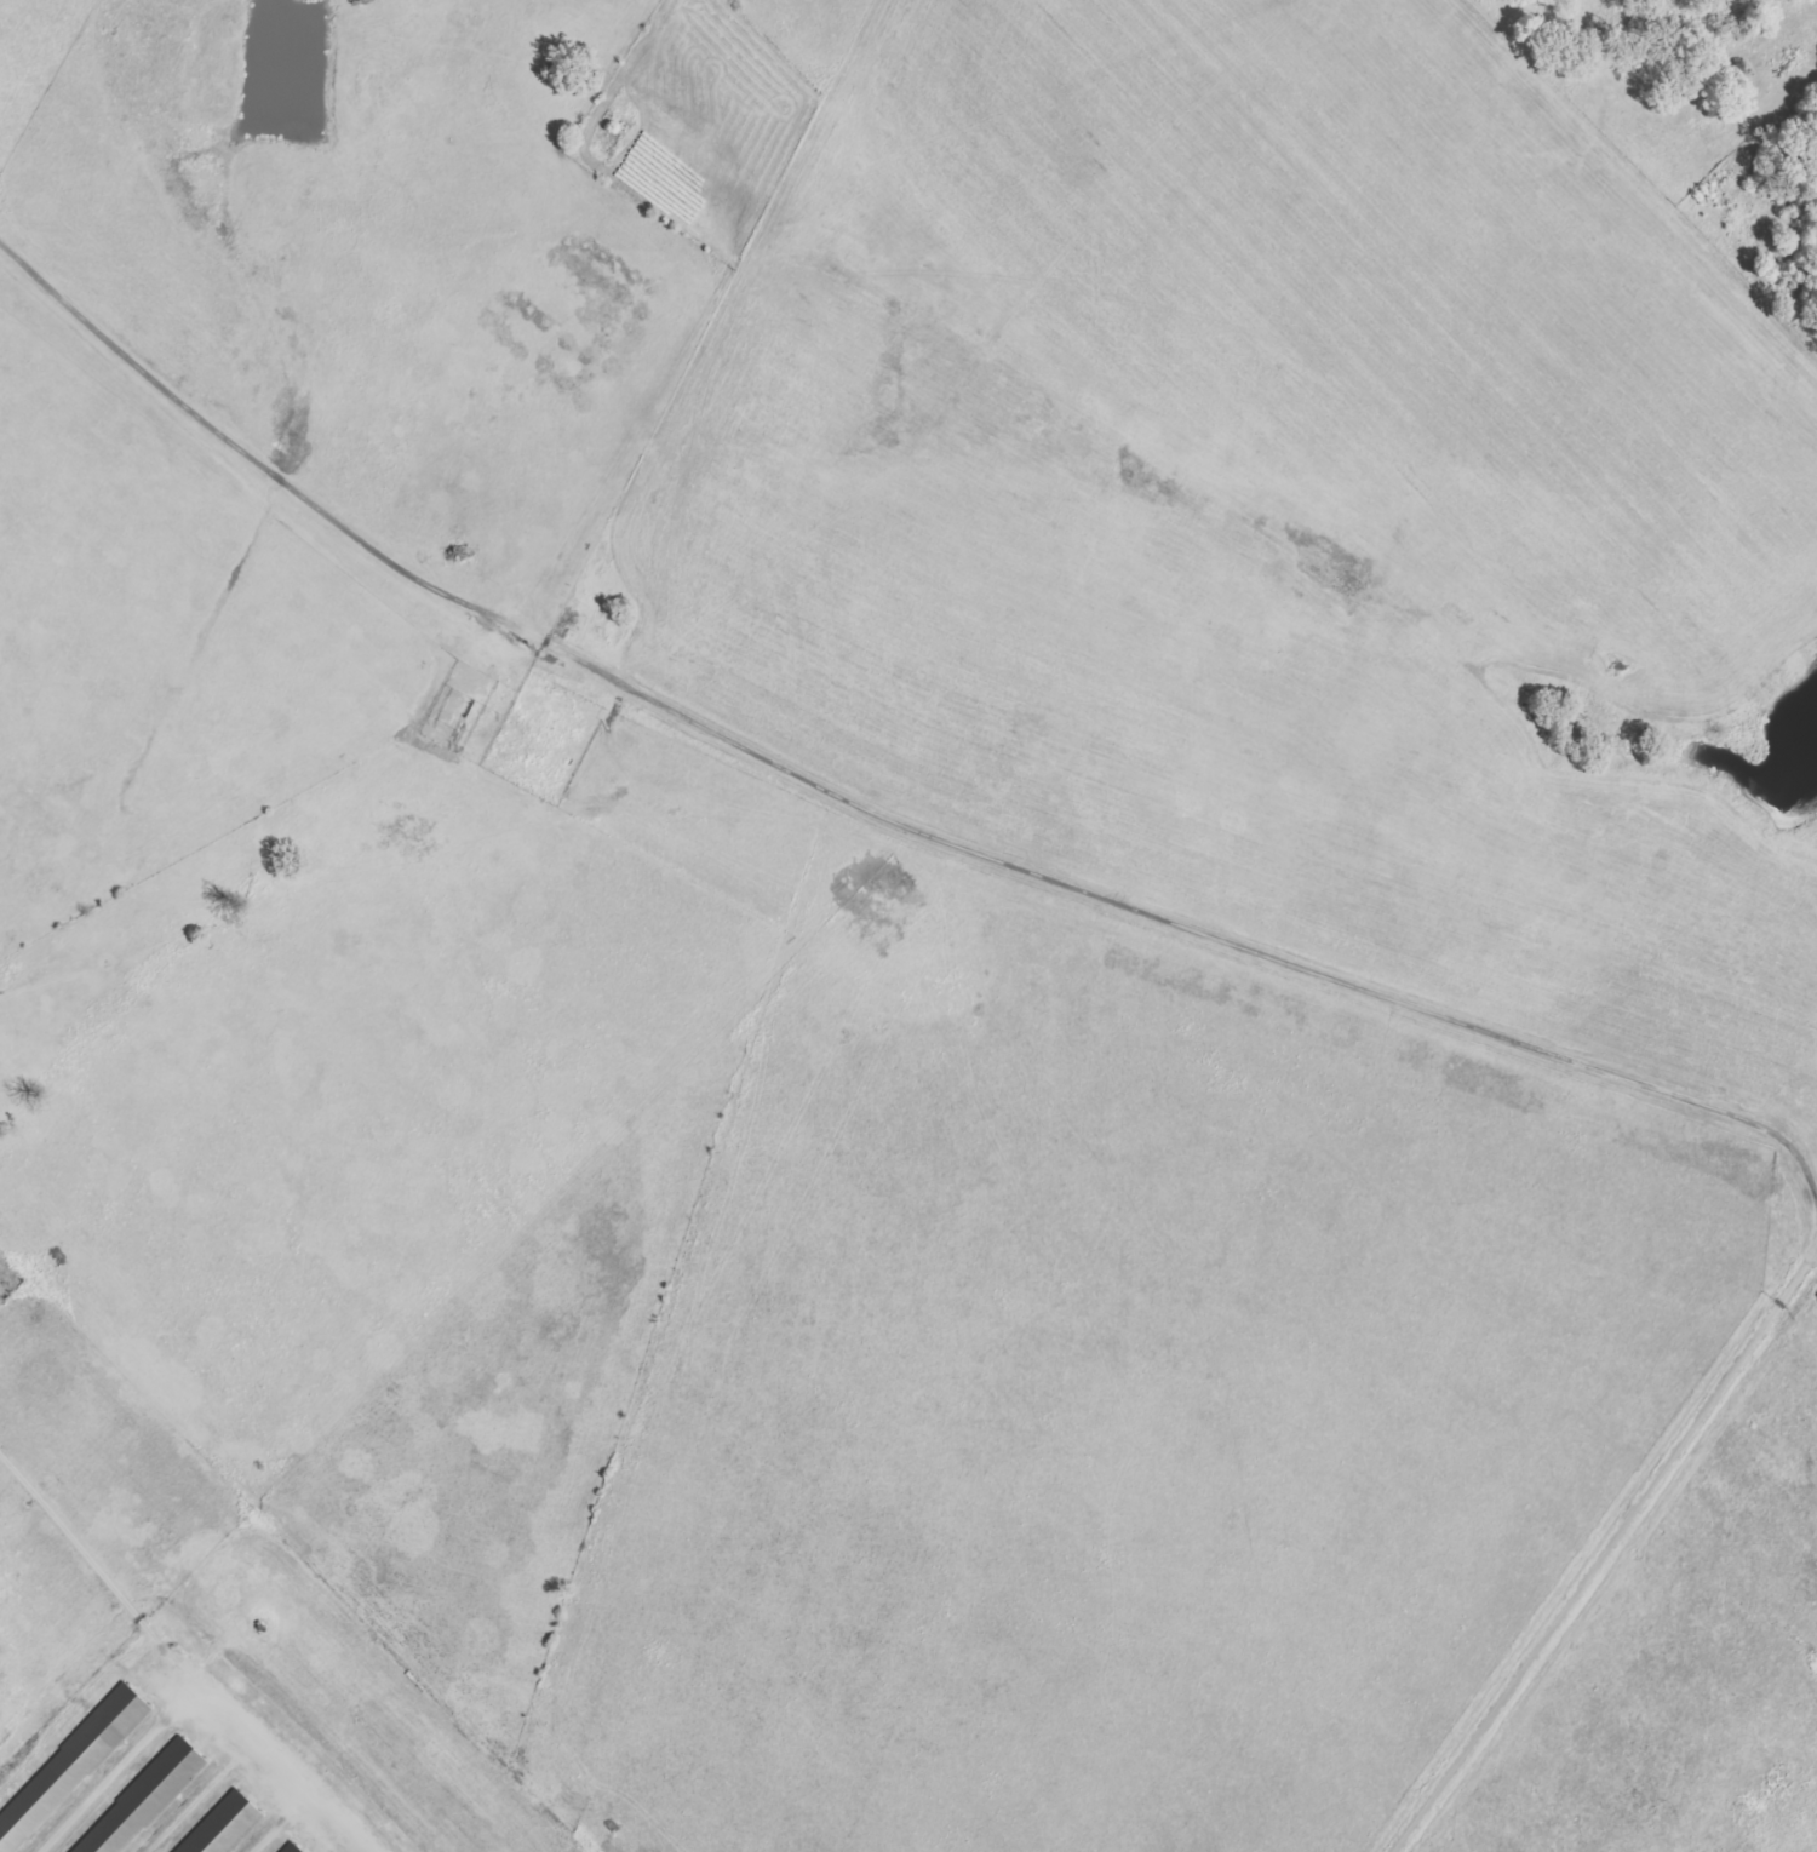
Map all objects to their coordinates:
road: (877, 810)
building: (69, 1766)
building: (142, 1799)
building: (223, 1827)
building: (291, 1847)

